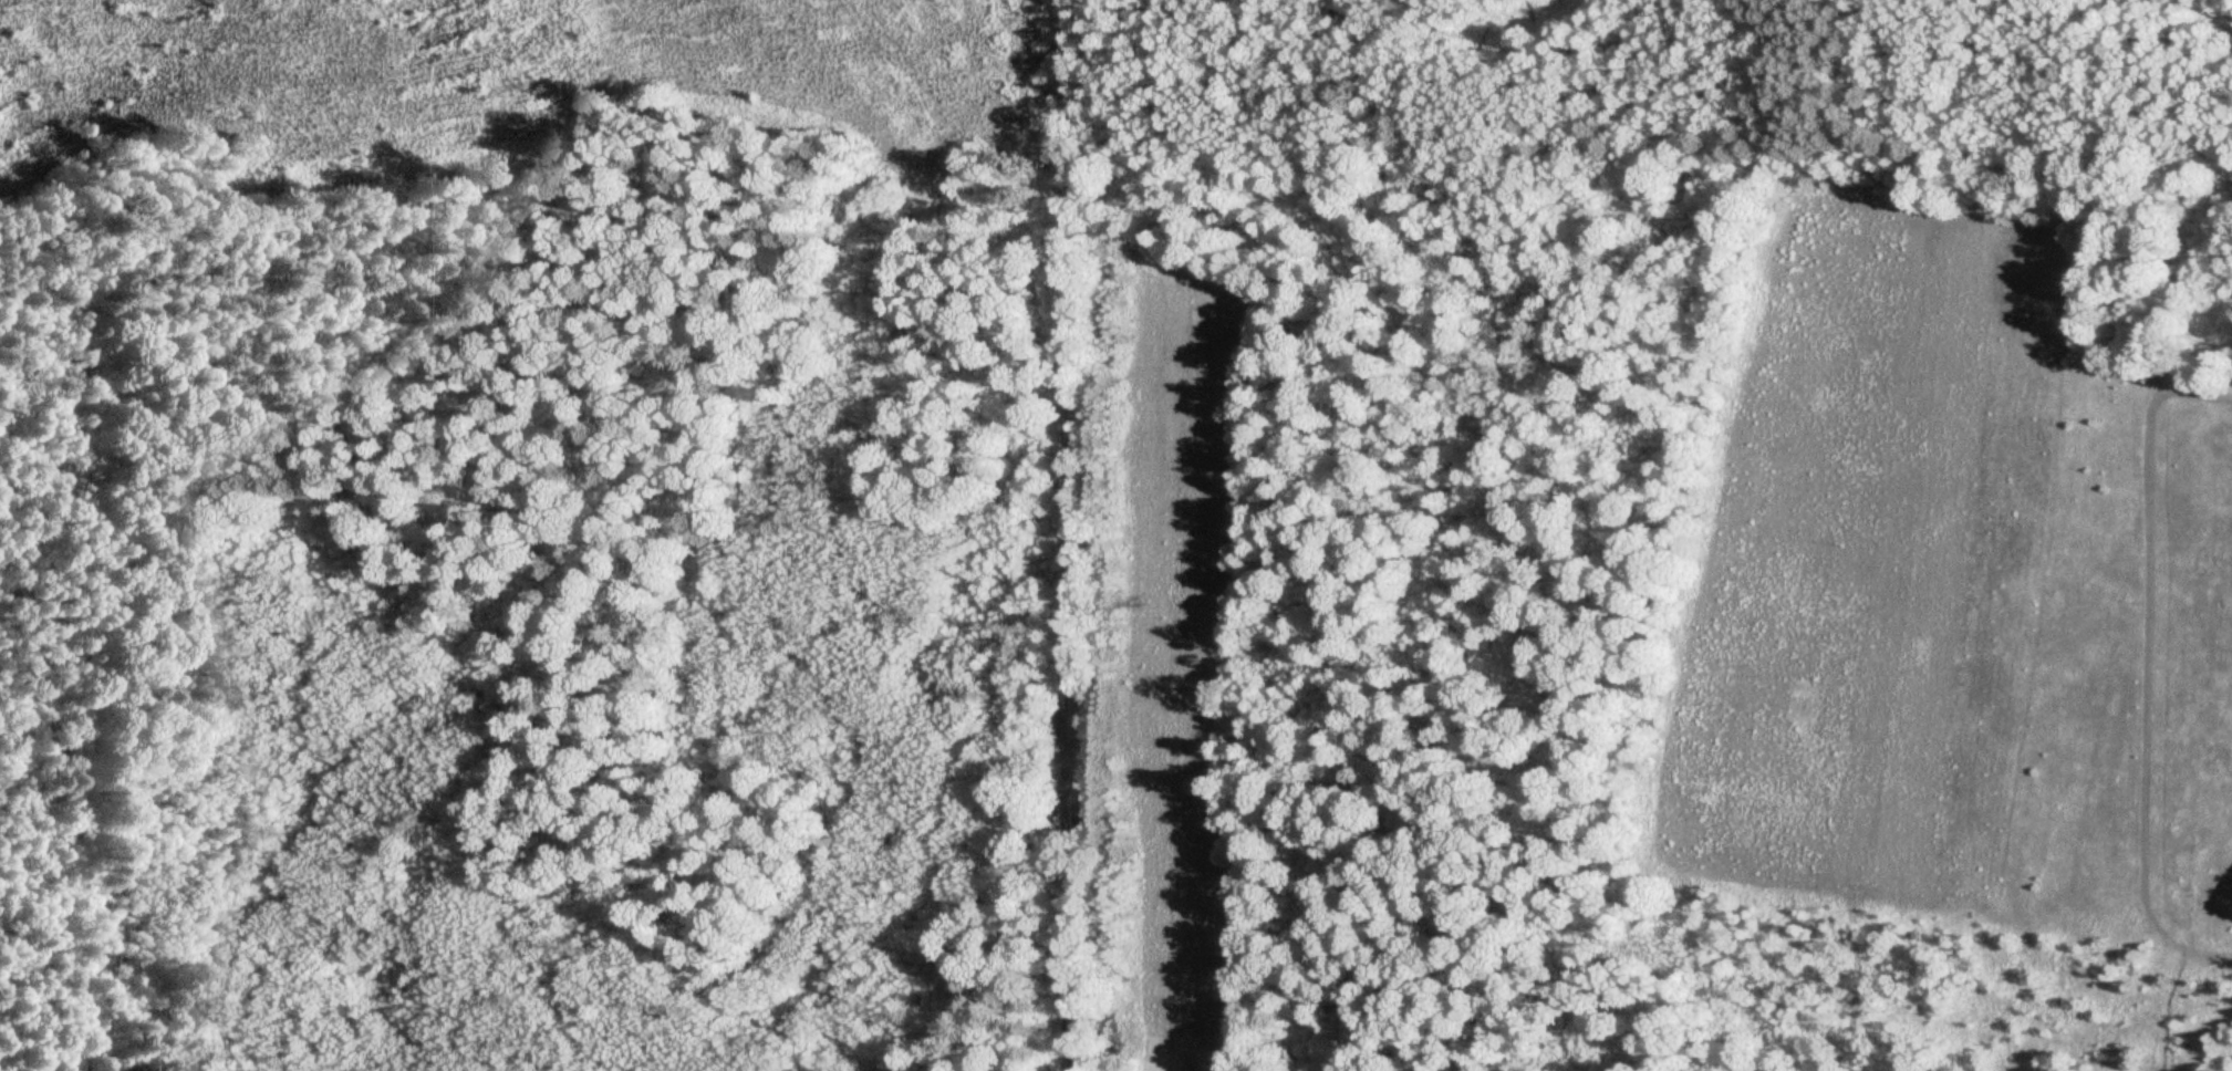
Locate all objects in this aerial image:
road: (1071, 534)

